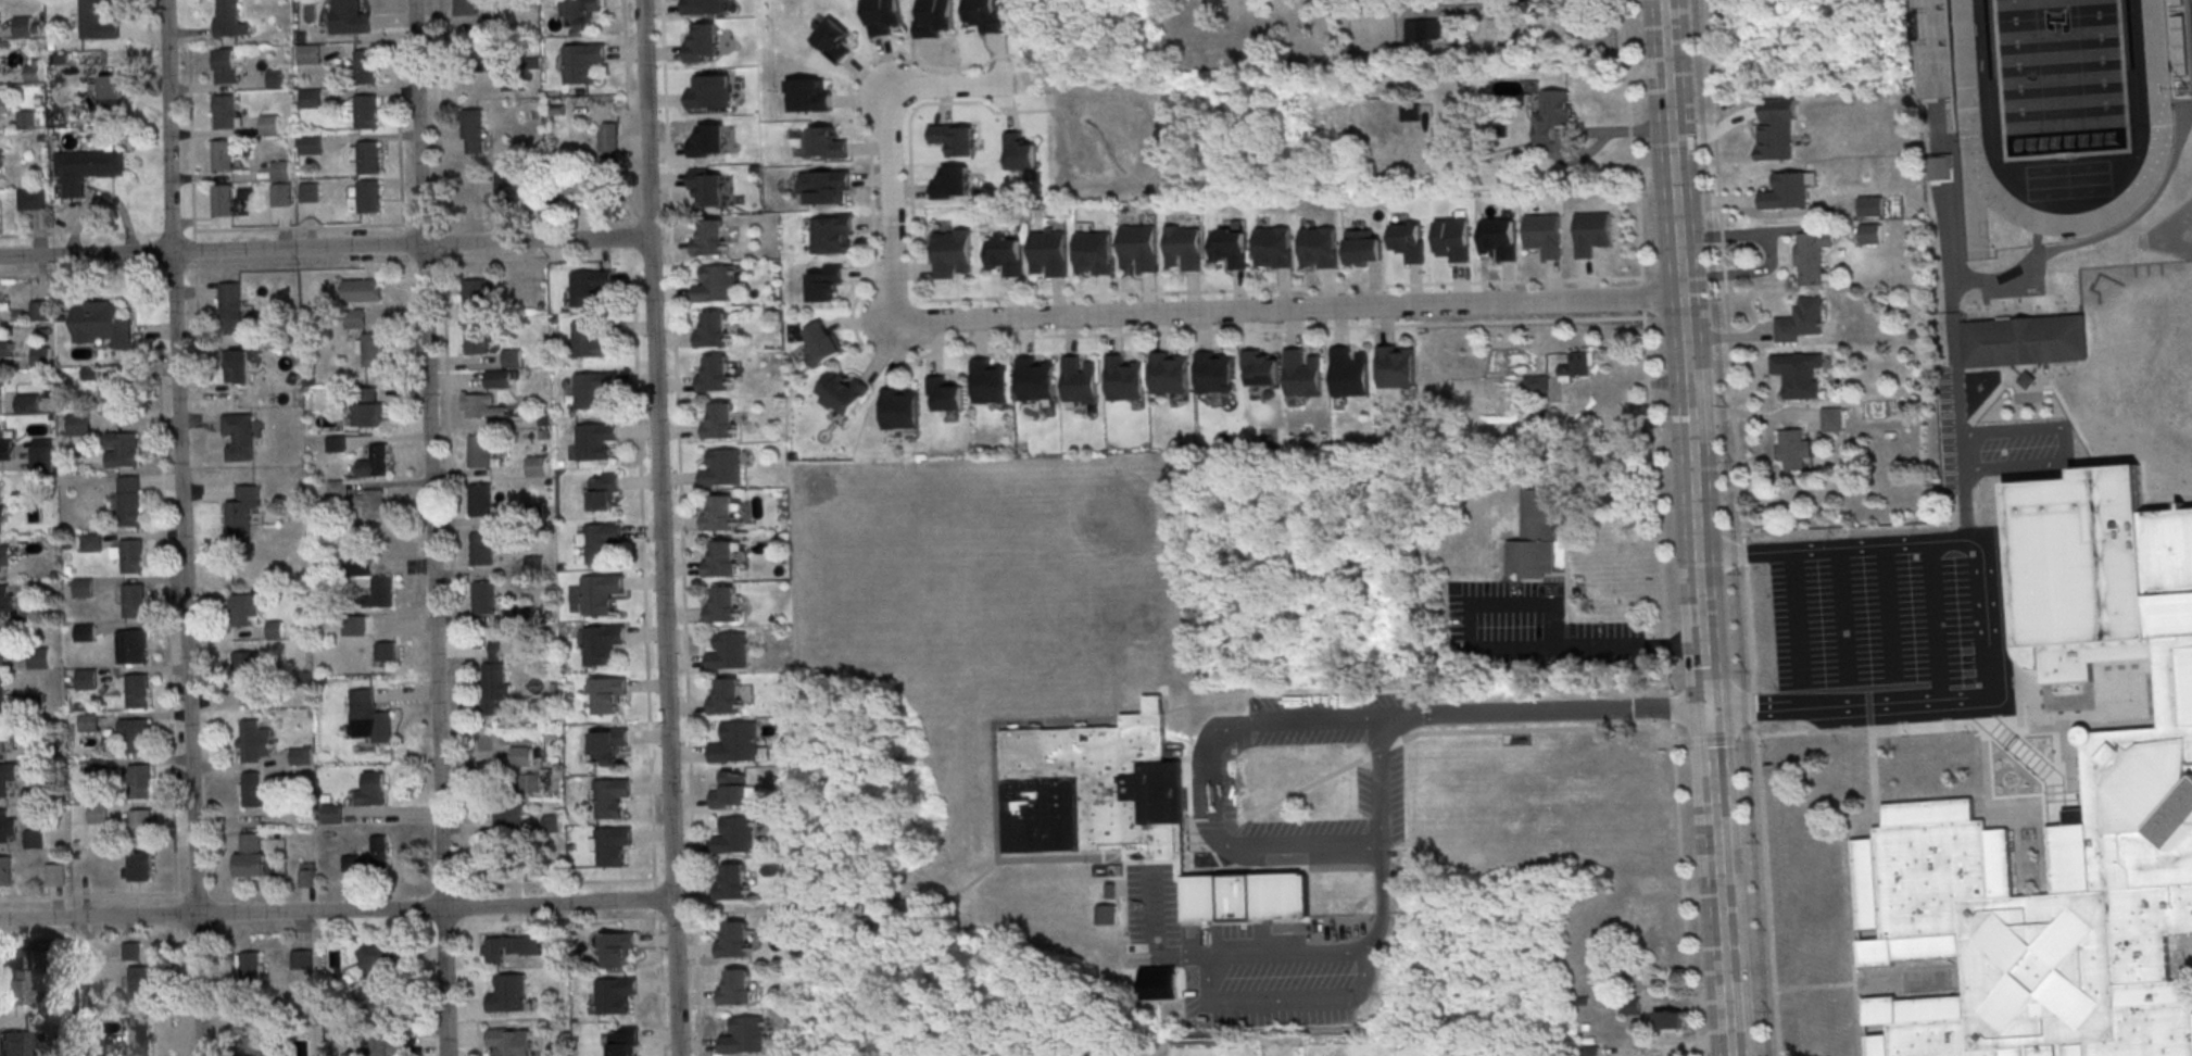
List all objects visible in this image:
building: (465, 7)
building: (704, 7)
building: (581, 15)
building: (883, 17)
building: (986, 18)
building: (345, 20)
building: (935, 20)
building: (228, 21)
building: (97, 23)
building: (24, 29)
building: (1419, 29)
stadium: (2176, 38)
building: (703, 43)
building: (834, 45)
building: (1932, 49)
stadium: (1935, 49)
building: (307, 56)
road: (1667, 61)
building: (581, 64)
building: (227, 70)
building: (366, 70)
building: (34, 71)
park: (2059, 76)
park: (2061, 76)
building: (278, 81)
road: (953, 87)
building: (113, 93)
building: (808, 96)
building: (313, 101)
building: (4, 104)
building: (735, 111)
building: (227, 115)
building: (367, 115)
building: (1410, 115)
building: (27, 117)
building: (1551, 118)
building: (272, 126)
building: (1775, 129)
track: (2159, 130)
building: (474, 131)
building: (608, 136)
building: (827, 143)
building: (955, 143)
building: (312, 148)
road: (1536, 153)
building: (1021, 156)
building: (226, 160)
building: (370, 161)
building: (1, 162)
building: (609, 164)
building: (1940, 168)
building: (87, 172)
building: (282, 173)
building: (506, 183)
building: (952, 183)
building: (707, 186)
building: (827, 186)
building: (1786, 191)
building: (311, 194)
building: (284, 197)
building: (370, 200)
building: (29, 203)
building: (226, 204)
road: (892, 204)
building: (1869, 206)
building: (832, 234)
building: (1868, 234)
road: (2103, 235)
building: (1593, 237)
building: (1545, 238)
building: (710, 239)
building: (1499, 241)
building: (1454, 243)
road: (325, 247)
building: (1410, 247)
building: (1138, 251)
building: (1184, 251)
building: (1230, 252)
building: (1274, 252)
building: (1320, 252)
building: (1363, 253)
building: (953, 255)
building: (1811, 255)
building: (1095, 256)
building: (1049, 257)
building: (1007, 260)
building: (826, 282)
building: (717, 284)
building: (589, 288)
building: (362, 289)
building: (475, 294)
road: (1114, 296)
building: (230, 307)
road: (1290, 310)
building: (38, 311)
road: (443, 313)
building: (355, 317)
building: (1800, 320)
building: (99, 322)
building: (714, 330)
building: (476, 337)
road: (1018, 337)
road: (1685, 337)
building: (591, 338)
building: (2024, 340)
building: (821, 342)
building: (374, 349)
building: (5, 350)
building: (39, 356)
building: (512, 357)
road: (1956, 364)
building: (238, 365)
building: (1578, 365)
building: (1261, 366)
building: (1397, 366)
building: (1349, 370)
building: (1169, 372)
building: (1214, 372)
building: (716, 373)
building: (1302, 373)
building: (1798, 373)
building: (1124, 377)
building: (497, 378)
building: (1035, 378)
building: (1079, 379)
building: (2027, 379)
building: (990, 380)
building: (1536, 382)
building: (0, 389)
building: (593, 389)
building: (119, 391)
building: (842, 391)
building: (946, 393)
building: (27, 403)
building: (367, 406)
building: (484, 406)
building: (899, 407)
building: (1830, 419)
building: (720, 422)
building: (79, 424)
building: (238, 436)
building: (594, 440)
road: (2065, 442)
parking lot: (2018, 444)
building: (122, 449)
building: (1793, 449)
building: (5, 450)
building: (480, 451)
building: (40, 461)
building: (374, 461)
building: (538, 465)
building: (723, 467)
building: (604, 491)
building: (129, 500)
building: (480, 500)
building: (374, 504)
building: (241, 514)
building: (720, 514)
building: (0, 515)
road: (431, 527)
road: (660, 527)
road: (680, 527)
road: (181, 528)
road: (1656, 528)
road: (1741, 528)
building: (1537, 536)
building: (601, 541)
building: (91, 543)
building: (482, 549)
building: (4, 555)
building: (131, 556)
building: (720, 560)
building: (361, 566)
building: (83, 587)
building: (381, 592)
building: (597, 594)
building: (483, 598)
building: (5, 599)
building: (134, 601)
building: (723, 604)
building: (241, 609)
road: (1889, 611)
building: (29, 613)
road: (1841, 614)
road: (1985, 614)
road: (1932, 617)
road: (1794, 618)
parking lot: (1877, 618)
building: (354, 625)
road: (1701, 629)
building: (83, 633)
building: (601, 643)
building: (4, 645)
building: (131, 646)
road: (645, 646)
road: (1495, 651)
building: (729, 652)
building: (386, 653)
building: (38, 657)
building: (243, 667)
building: (86, 678)
building: (493, 681)
building: (138, 691)
building: (1, 692)
building: (607, 694)
building: (727, 697)
building: (34, 703)
road: (1544, 711)
building: (368, 718)
building: (88, 724)
road: (1819, 729)
building: (1, 736)
building: (139, 736)
building: (736, 743)
building: (252, 746)
building: (606, 746)
building: (40, 747)
building: (301, 755)
building: (521, 755)
building: (102, 767)
building: (2138, 770)
building: (7, 776)
road: (1202, 780)
road: (1381, 781)
building: (139, 782)
building: (532, 782)
building: (252, 789)
building: (371, 789)
building: (731, 791)
building: (30, 796)
building: (609, 799)
park: (1534, 799)
building: (1124, 809)
building: (331, 813)
building: (98, 814)
building: (511, 814)
building: (552, 822)
building: (7, 827)
building: (141, 827)
building: (734, 834)
building: (33, 840)
building: (612, 846)
building: (379, 850)
building: (249, 854)
building: (139, 866)
building: (5, 871)
building: (307, 873)
building: (54, 875)
road: (1717, 880)
building: (733, 883)
building: (1111, 890)
road: (916, 892)
road: (337, 910)
building: (1107, 914)
building: (734, 941)
building: (505, 945)
building: (616, 948)
building: (130, 952)
road: (1277, 955)
building: (301, 958)
building: (378, 960)
building: (37, 961)
building: (251, 965)
building: (139, 983)
building: (17, 989)
building: (736, 989)
building: (508, 994)
building: (615, 994)
building: (385, 1003)
building: (1630, 1006)
building: (1668, 1020)
building: (140, 1035)
building: (745, 1036)
building: (511, 1041)
building: (622, 1042)
building: (15, 1043)
building: (390, 1045)
building: (251, 1046)
building: (1589, 1052)

